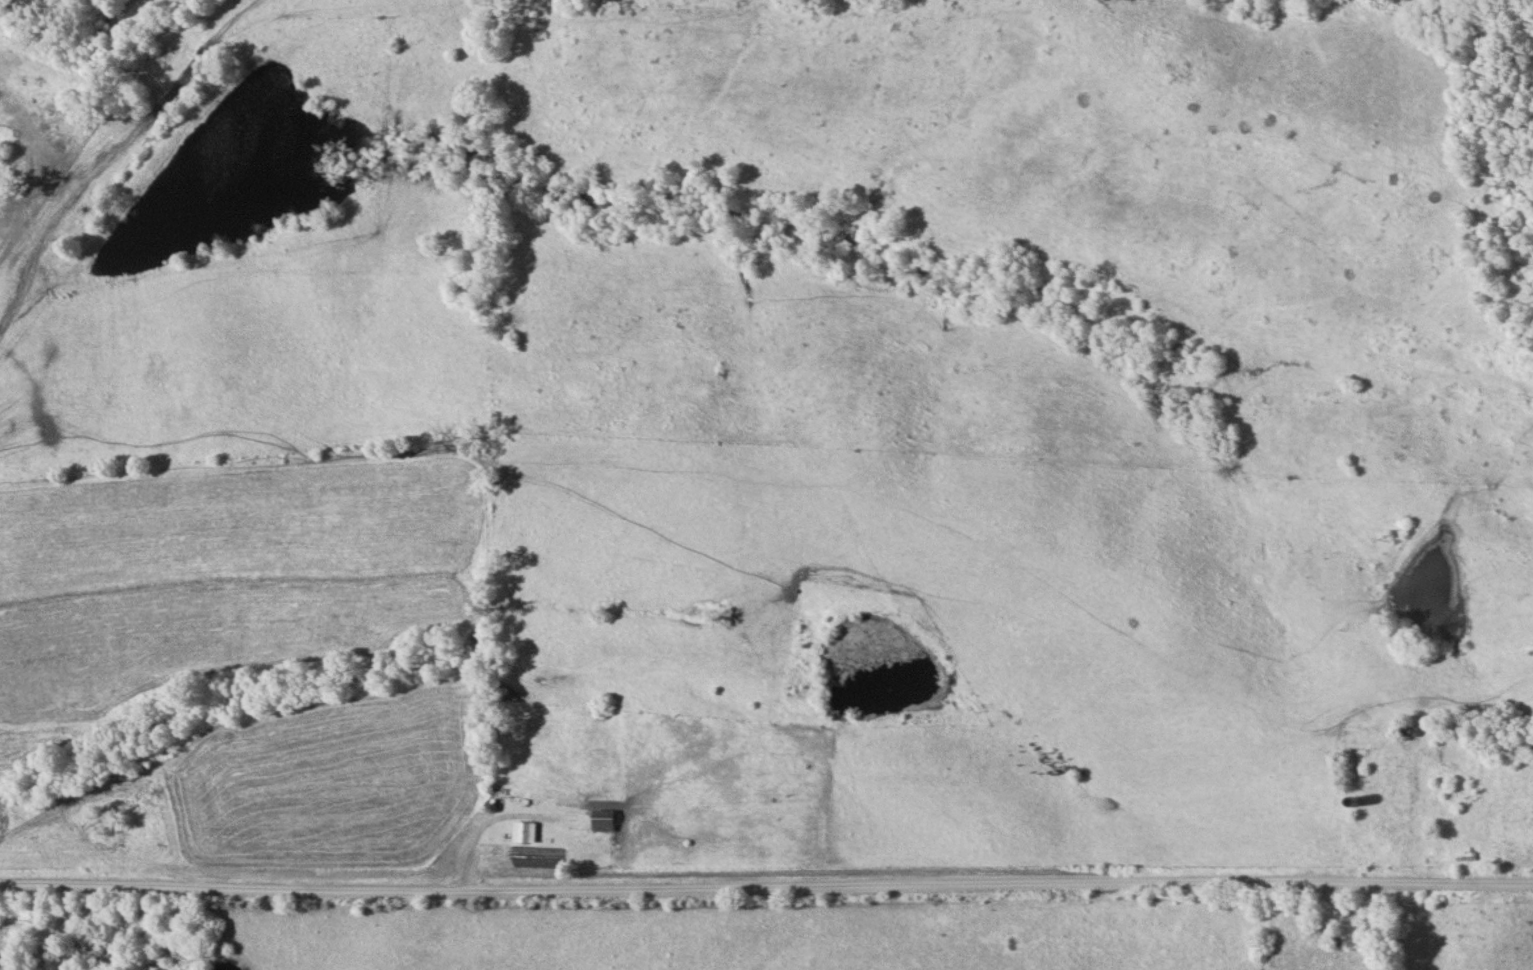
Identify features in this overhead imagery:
road: (1418, 785)
building: (605, 823)
building: (526, 834)
road: (766, 888)
road: (1320, 927)

